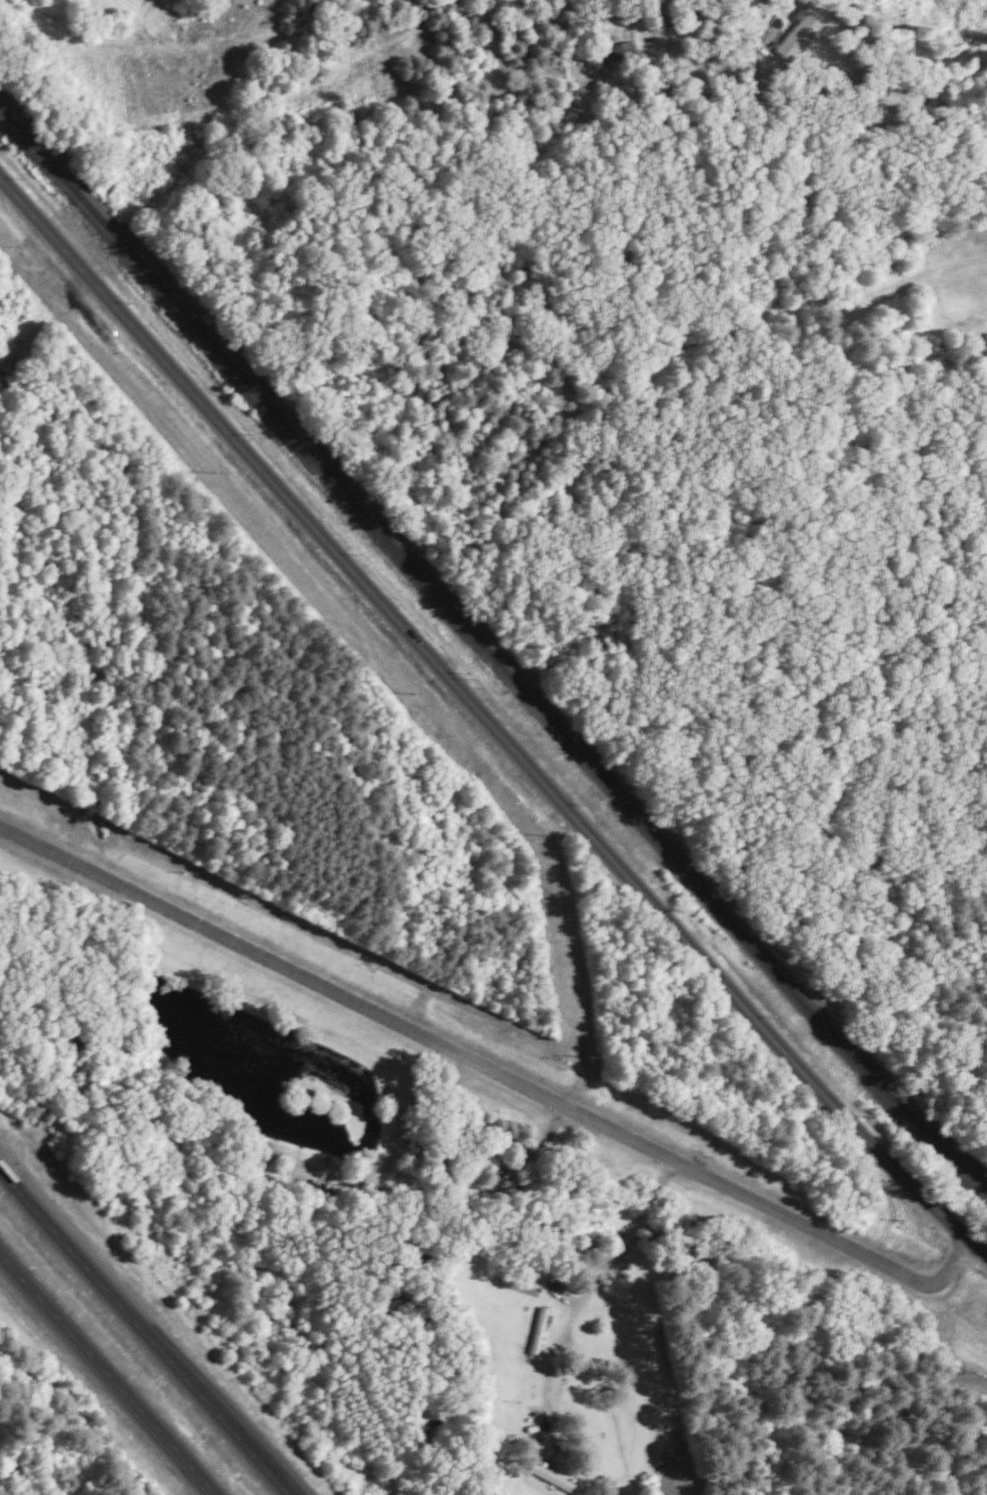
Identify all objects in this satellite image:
building: (797, 33)
building: (620, 48)
road: (880, 82)
railway: (489, 649)
road: (487, 720)
road: (493, 1073)
road: (586, 1296)
building: (538, 1329)
road: (145, 1331)
road: (108, 1372)
building: (551, 1476)

